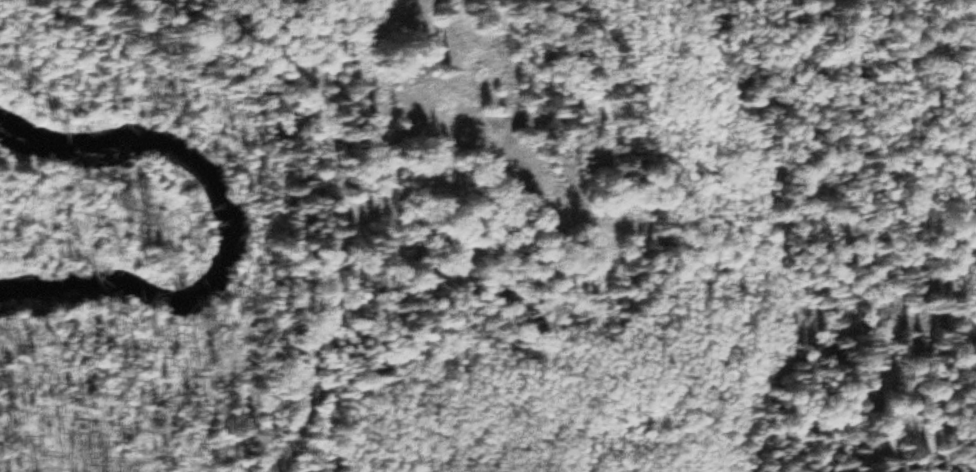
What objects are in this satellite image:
road: (227, 7)
river: (233, 214)
road: (347, 227)
park: (488, 236)

